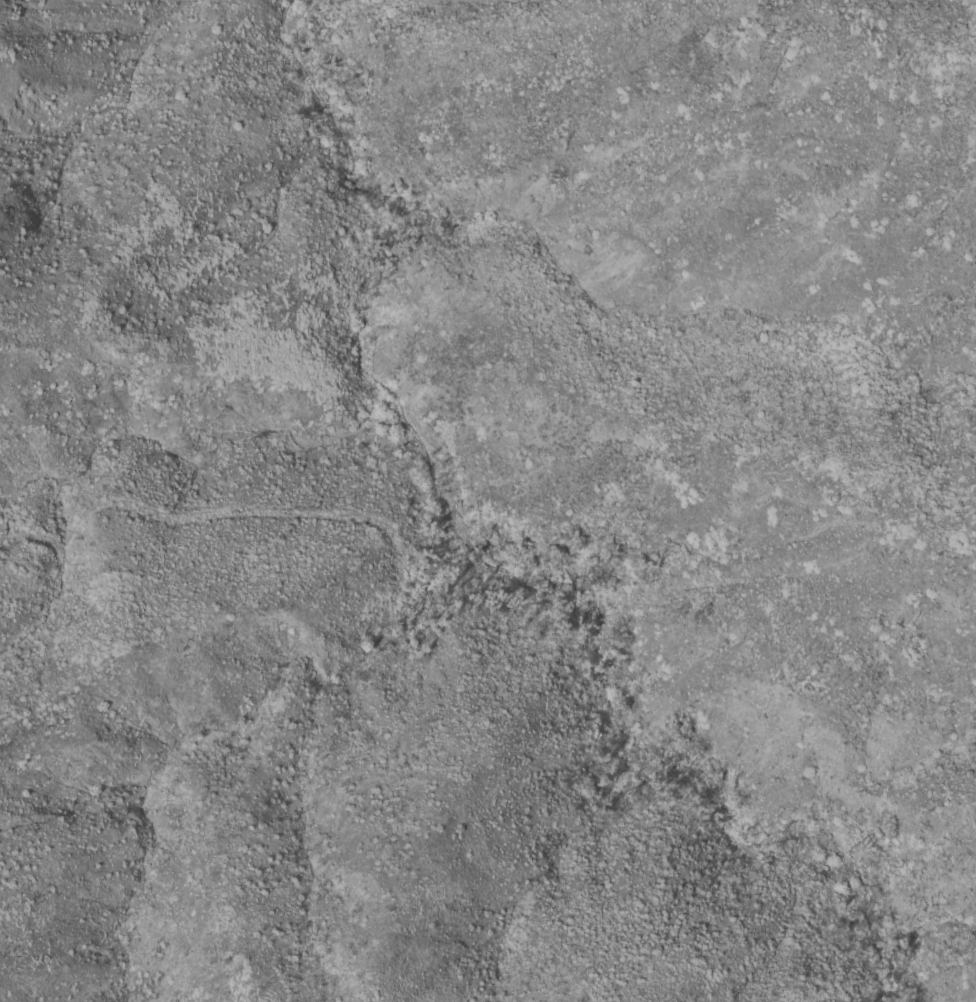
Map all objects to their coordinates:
road: (320, 53)
road: (899, 61)
road: (445, 490)

